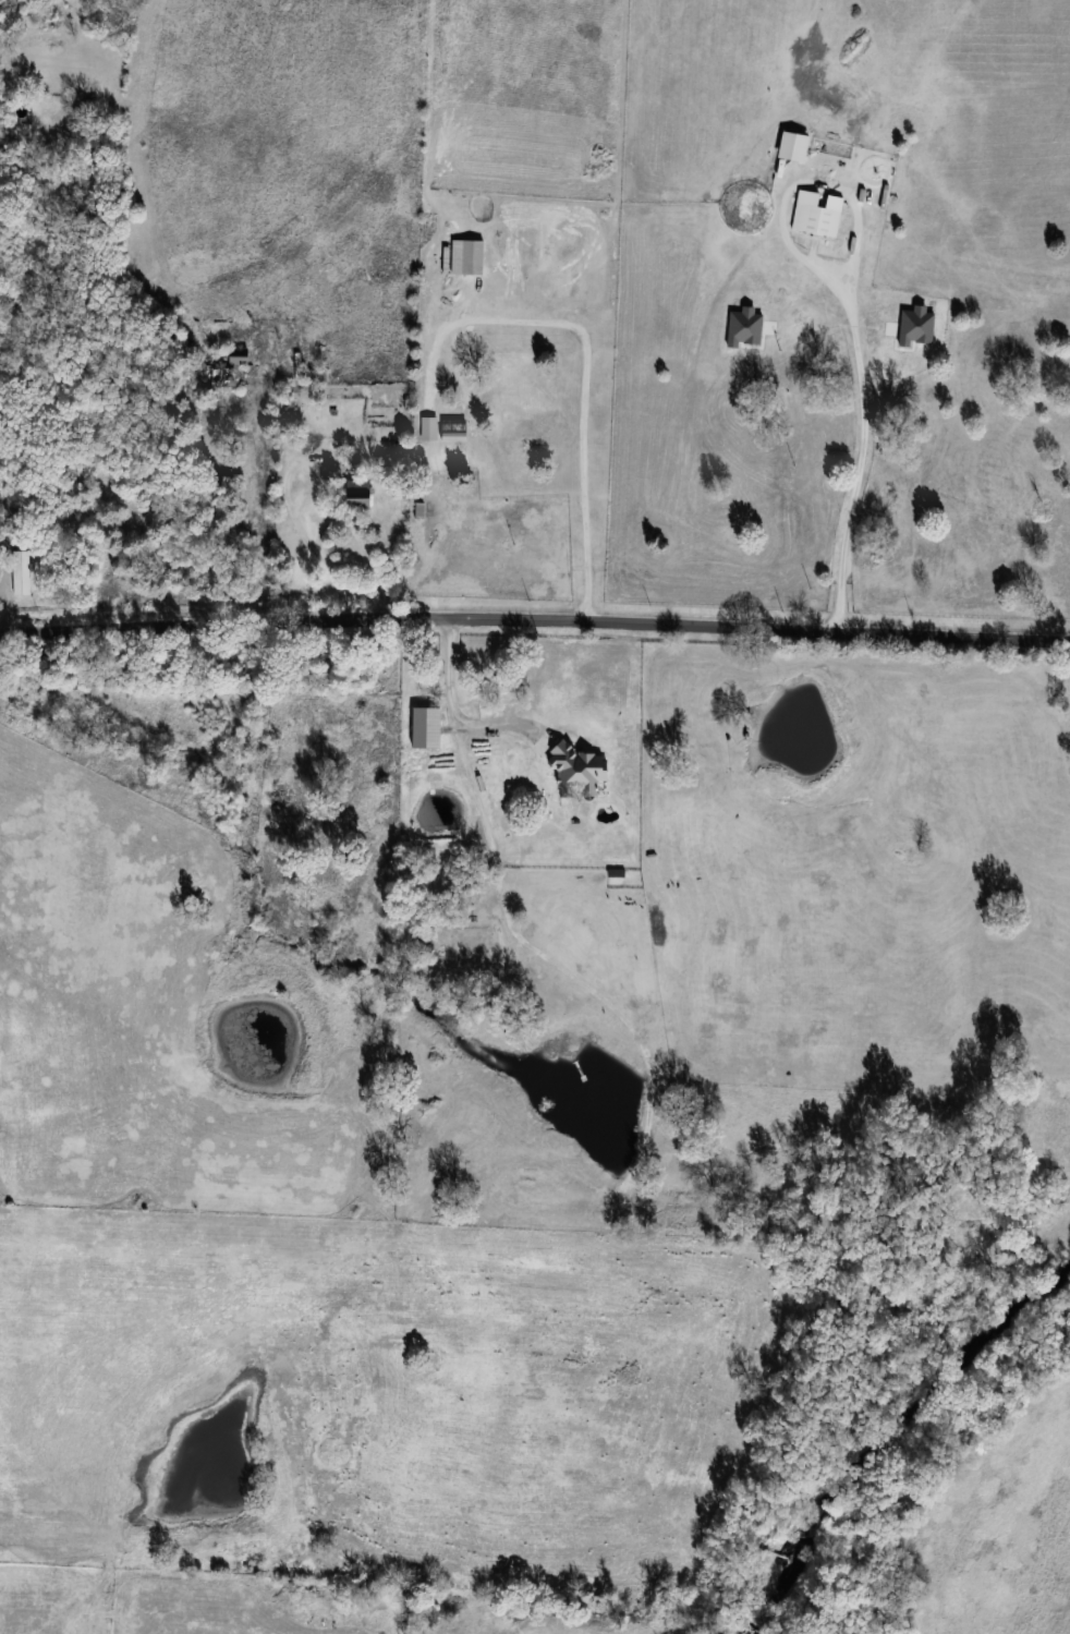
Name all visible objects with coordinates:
building: (819, 219)
building: (227, 368)
building: (316, 375)
road: (588, 375)
road: (865, 455)
building: (361, 492)
building: (21, 573)
road: (535, 621)
road: (452, 702)
building: (501, 717)
building: (567, 811)

